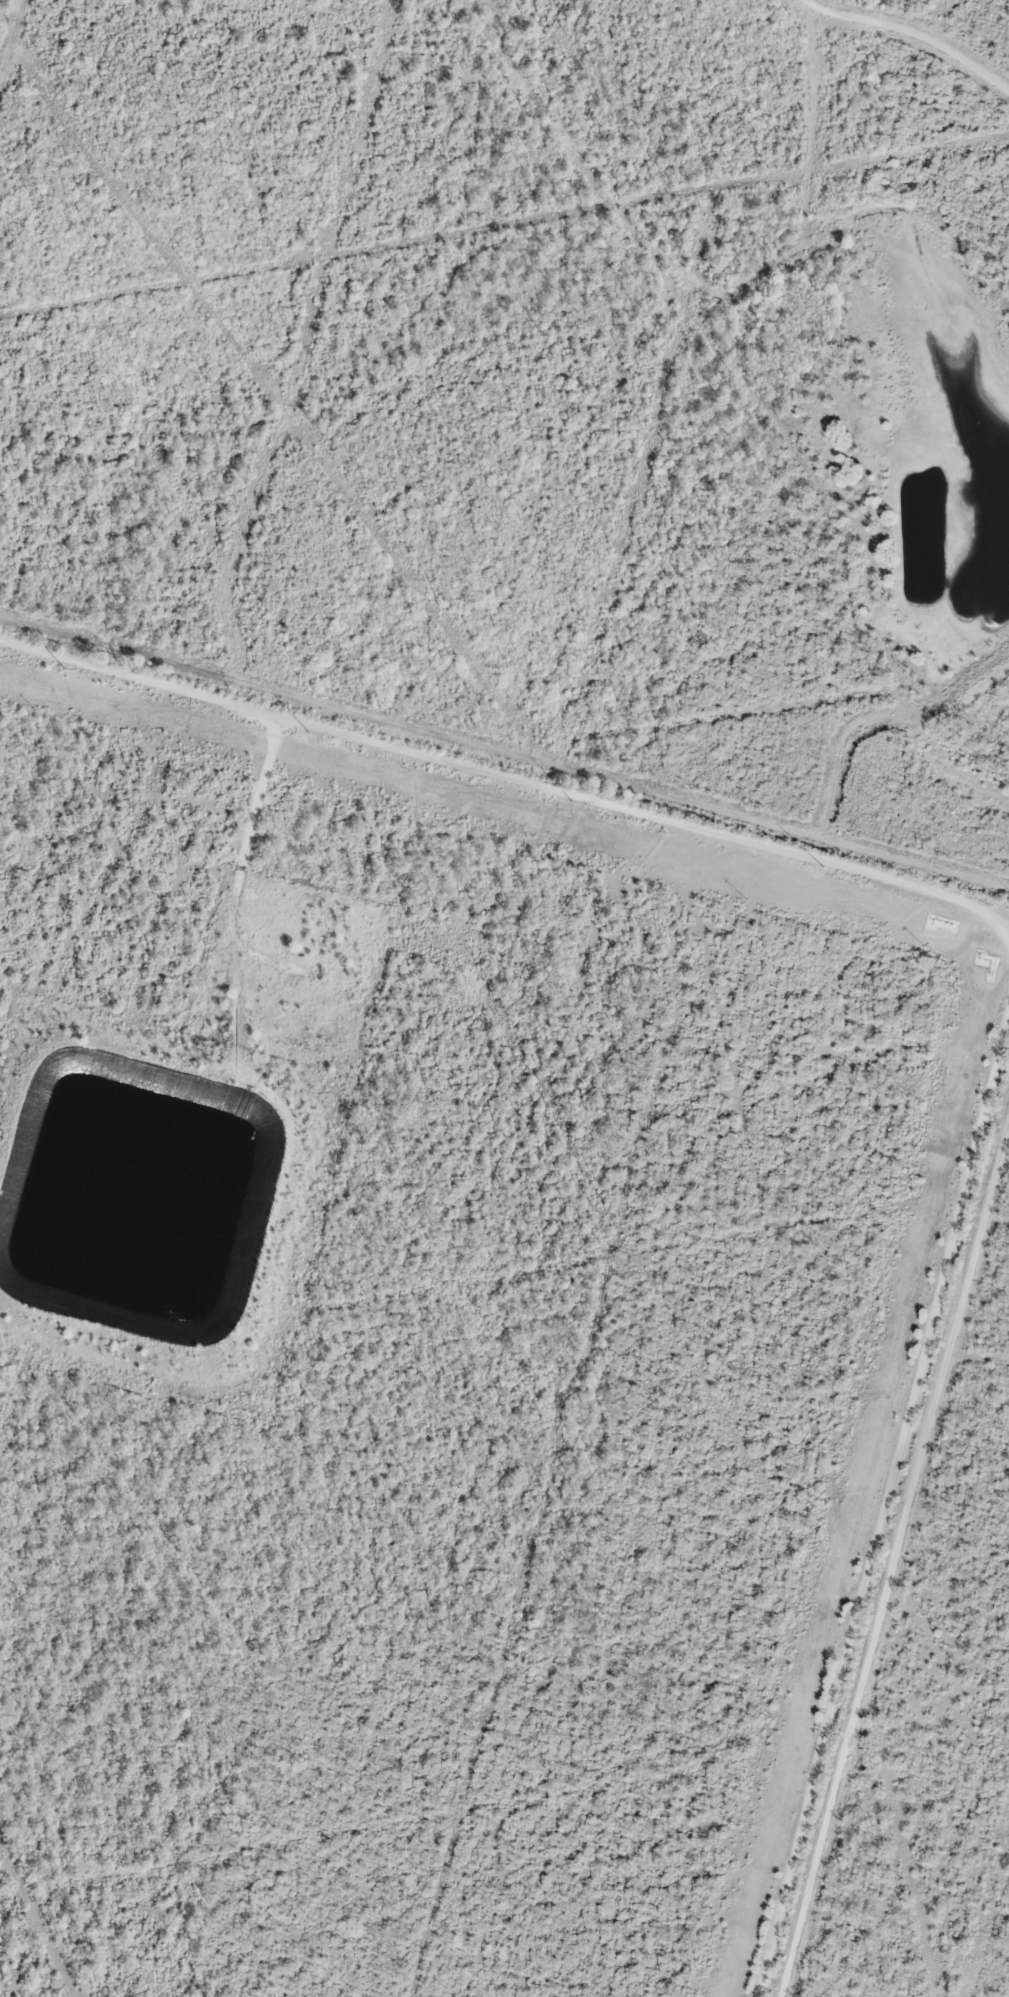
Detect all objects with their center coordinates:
road: (913, 34)
power tower: (65, 669)
power tower: (310, 735)
road: (514, 778)
power tower: (574, 805)
power tower: (823, 873)
road: (883, 1498)

